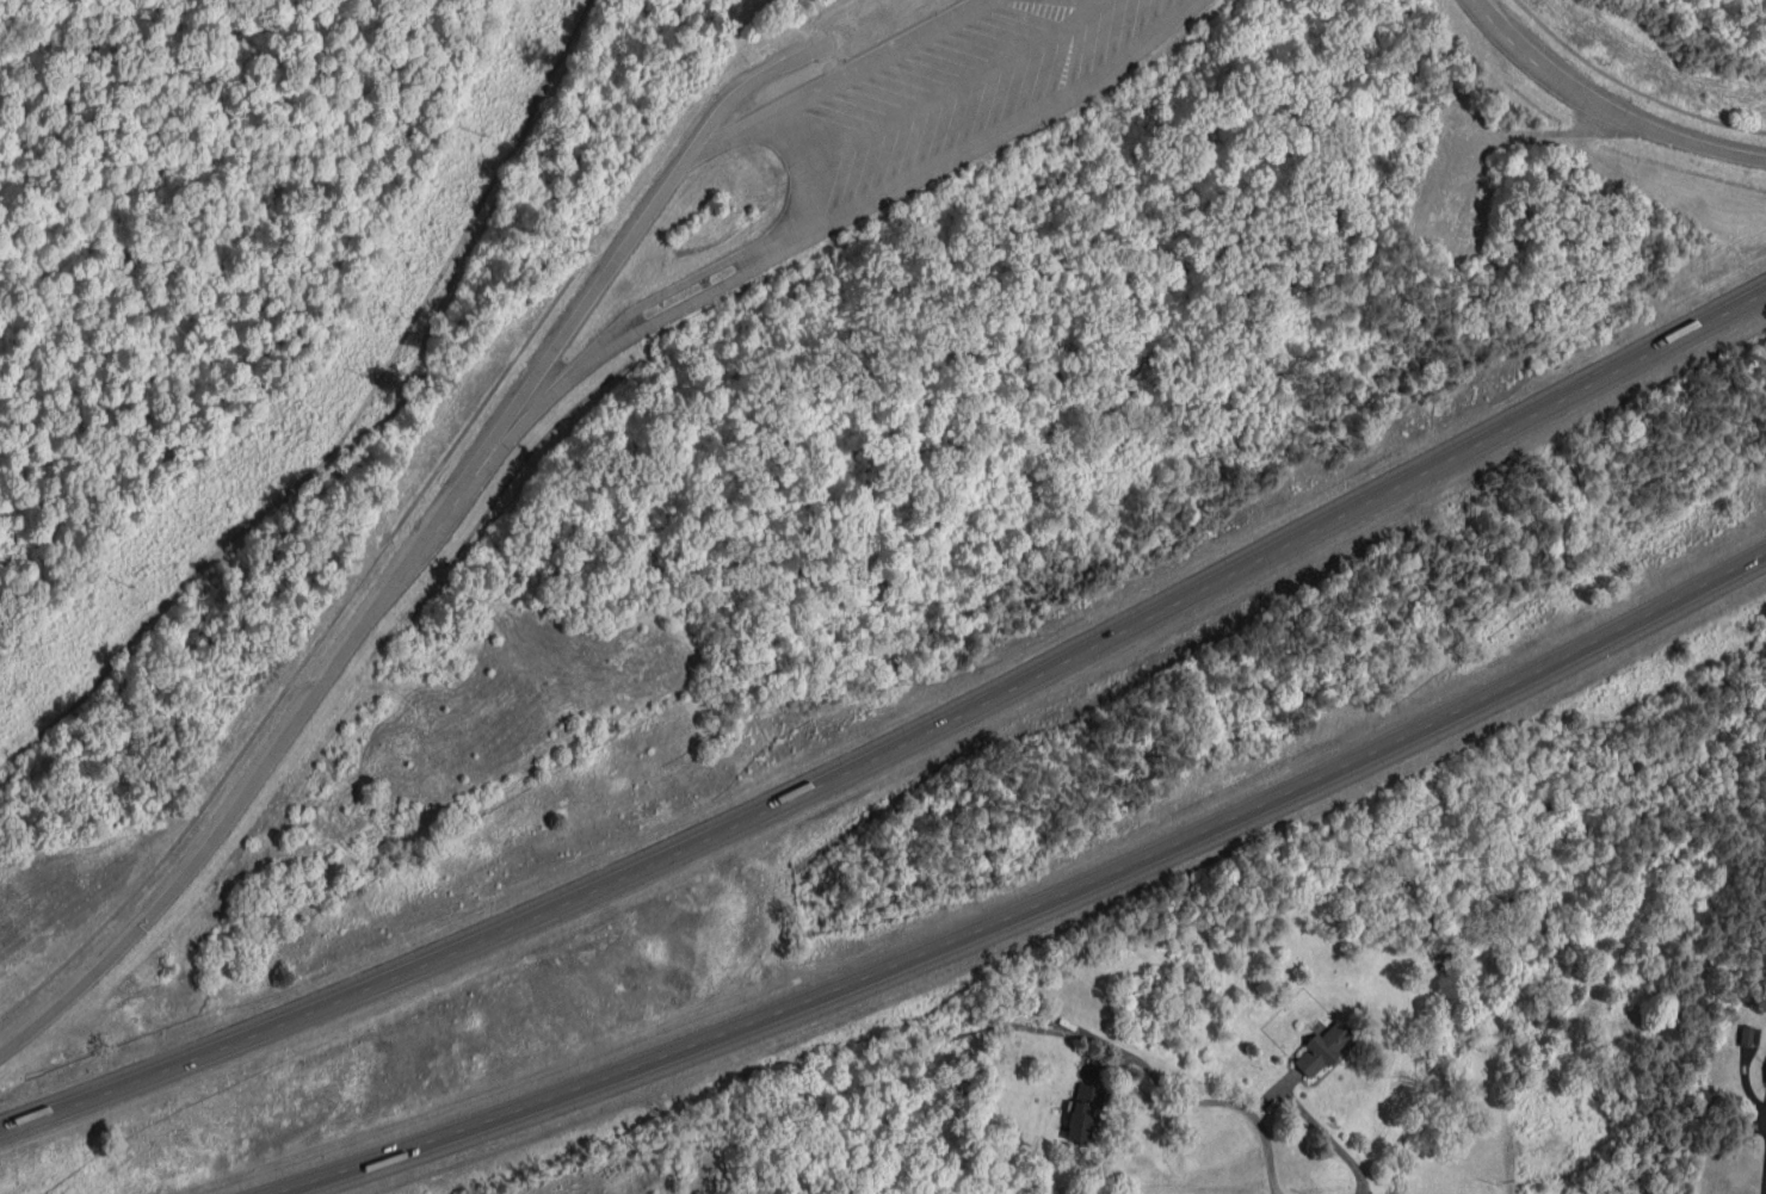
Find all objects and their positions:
road: (944, 88)
road: (820, 91)
road: (1601, 111)
road: (982, 141)
road: (776, 142)
road: (643, 216)
road: (634, 335)
road: (899, 747)
road: (237, 792)
road: (1038, 907)
building: (1746, 1034)
building: (1321, 1048)
road: (1118, 1060)
building: (1765, 1078)
building: (1083, 1111)
road: (1251, 1112)
road: (1328, 1134)

